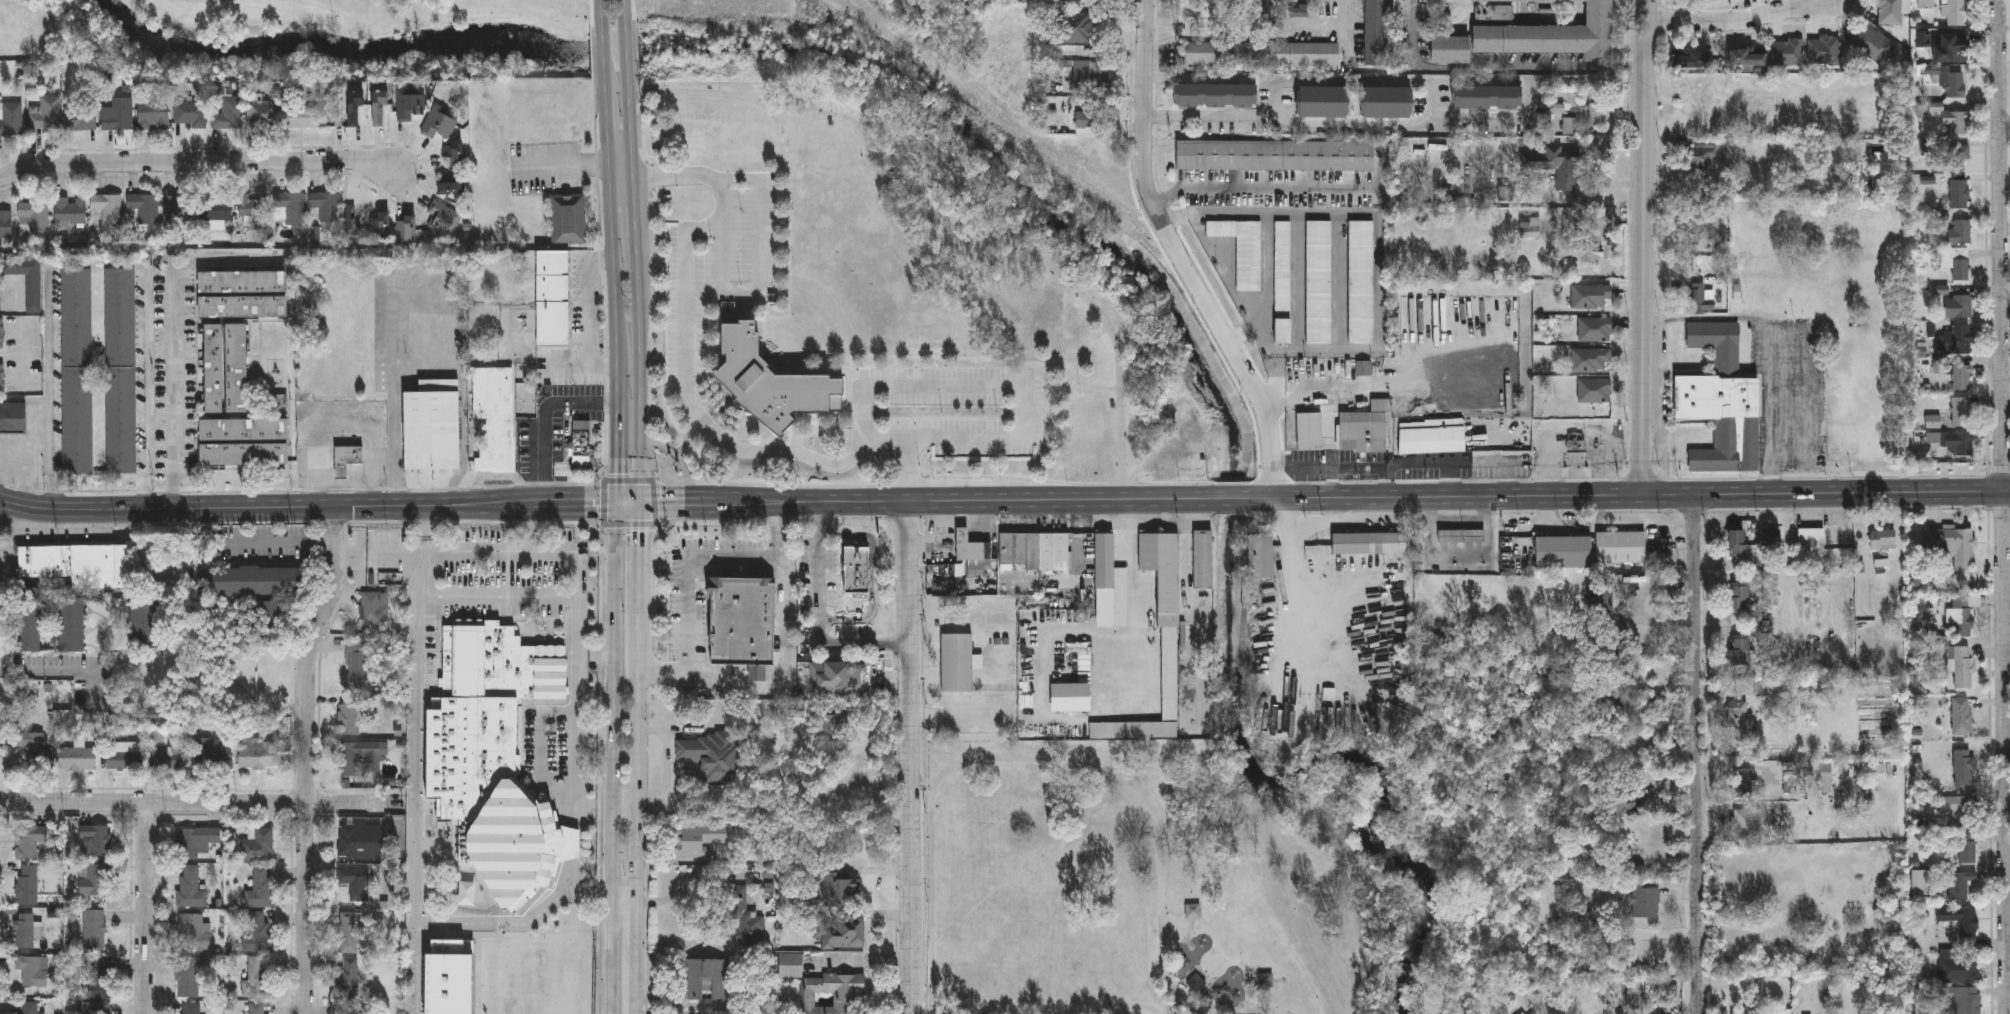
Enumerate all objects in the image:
road: (194, 0)
road: (599, 5)
road: (326, 8)
building: (1500, 11)
building: (1889, 11)
building: (1956, 12)
road: (1739, 21)
building: (1073, 27)
road: (1348, 29)
building: (1376, 32)
building: (1550, 34)
park: (304, 38)
building: (1874, 43)
building: (1958, 46)
road: (605, 48)
building: (1447, 48)
building: (1823, 50)
building: (1258, 51)
building: (1787, 52)
building: (1745, 56)
building: (1691, 58)
road: (1497, 67)
building: (1090, 74)
road: (1355, 80)
building: (1952, 81)
road: (629, 85)
building: (1212, 93)
building: (1485, 95)
building: (1697, 97)
building: (1320, 100)
building: (1383, 100)
building: (410, 108)
building: (381, 110)
building: (356, 111)
building: (1091, 114)
building: (264, 115)
building: (1598, 115)
building: (48, 116)
building: (155, 116)
building: (192, 116)
building: (229, 116)
building: (120, 117)
building: (307, 119)
building: (82, 120)
building: (11, 121)
building: (1955, 121)
road: (1356, 122)
building: (1570, 126)
building: (441, 127)
road: (2007, 128)
road: (609, 133)
building: (454, 156)
building: (1275, 156)
building: (1951, 157)
building: (1703, 158)
road: (199, 162)
building: (1555, 164)
road: (622, 170)
building: (452, 186)
road: (1265, 187)
building: (1959, 192)
road: (952, 195)
road: (635, 203)
building: (327, 207)
building: (180, 209)
building: (217, 209)
building: (292, 209)
building: (108, 210)
building: (143, 211)
building: (255, 211)
building: (70, 213)
building: (34, 216)
building: (569, 220)
building: (445, 221)
building: (1701, 223)
building: (6, 226)
building: (354, 226)
building: (1531, 227)
building: (381, 228)
building: (408, 230)
building: (1955, 244)
road: (637, 245)
road: (1645, 246)
building: (1242, 250)
building: (1577, 250)
road: (1183, 255)
road: (1380, 262)
road: (97, 263)
road: (616, 275)
road: (757, 279)
building: (1318, 282)
building: (1361, 282)
building: (242, 283)
building: (1282, 283)
road: (1230, 285)
building: (14, 288)
building: (1592, 296)
building: (1700, 299)
building: (554, 300)
building: (1957, 305)
road: (2007, 305)
building: (242, 307)
road: (587, 316)
building: (1594, 329)
building: (2, 335)
building: (1958, 336)
road: (686, 351)
road: (24, 353)
road: (12, 355)
building: (1590, 359)
building: (213, 369)
building: (235, 369)
building: (121, 372)
building: (77, 373)
road: (432, 373)
building: (1961, 374)
building: (769, 377)
road: (641, 378)
building: (2, 380)
road: (1396, 383)
road: (601, 384)
road: (1007, 389)
road: (176, 390)
building: (1593, 390)
building: (1720, 401)
building: (1961, 409)
road: (543, 418)
building: (13, 420)
building: (495, 421)
building: (431, 427)
building: (1308, 431)
building: (1361, 431)
building: (1431, 436)
road: (620, 441)
building: (242, 443)
building: (582, 444)
building: (1958, 444)
road: (14, 456)
building: (347, 460)
road: (2005, 477)
road: (627, 480)
road: (26, 481)
road: (342, 481)
road: (1629, 494)
road: (927, 498)
road: (1231, 498)
traffic signals: (620, 502)
road: (630, 502)
road: (604, 503)
traffic signals: (641, 503)
road: (655, 505)
road: (309, 507)
road: (431, 514)
road: (1459, 523)
road: (431, 524)
road: (627, 524)
road: (1132, 532)
building: (1461, 536)
building: (1772, 538)
building: (1810, 539)
building: (1882, 540)
road: (280, 541)
building: (1736, 542)
building: (1368, 543)
building: (1953, 546)
building: (1621, 547)
building: (1034, 551)
road: (532, 552)
building: (1562, 552)
building: (1258, 553)
road: (378, 555)
building: (971, 555)
building: (1201, 559)
building: (78, 564)
building: (858, 567)
road: (159, 569)
road: (692, 570)
road: (874, 574)
building: (254, 580)
building: (1109, 584)
road: (421, 593)
building: (1770, 595)
building: (1737, 596)
road: (493, 598)
road: (819, 612)
building: (1961, 614)
building: (28, 619)
building: (742, 619)
building: (144, 623)
building: (72, 624)
road: (1134, 633)
building: (1738, 650)
road: (784, 661)
building: (956, 663)
building: (1169, 663)
building: (1960, 665)
road: (68, 667)
building: (356, 667)
building: (835, 675)
building: (1603, 702)
road: (574, 711)
road: (951, 714)
building: (346, 716)
building: (1736, 716)
building: (1961, 716)
building: (1532, 718)
building: (31, 743)
road: (541, 747)
road: (1700, 753)
building: (710, 754)
building: (355, 755)
road: (910, 755)
building: (257, 756)
building: (213, 757)
road: (616, 757)
building: (77, 758)
building: (122, 758)
road: (308, 758)
building: (494, 758)
road: (637, 758)
road: (980, 759)
building: (168, 760)
building: (1963, 768)
building: (1817, 773)
building: (1789, 776)
building: (1741, 783)
road: (923, 784)
road: (2009, 790)
building: (1624, 800)
road: (187, 802)
road: (415, 807)
building: (1958, 811)
building: (1748, 823)
building: (698, 836)
building: (96, 838)
building: (357, 839)
building: (196, 841)
building: (29, 842)
road: (571, 843)
building: (256, 845)
building: (1966, 848)
building: (94, 879)
park: (1152, 880)
building: (1918, 882)
building: (1960, 883)
building: (187, 884)
building: (29, 885)
building: (355, 885)
building: (259, 888)
building: (842, 889)
road: (595, 894)
road: (626, 901)
building: (1644, 904)
road: (145, 908)
building: (1192, 913)
building: (743, 916)
building: (1959, 920)
road: (516, 924)
building: (29, 930)
building: (94, 930)
building: (843, 931)
building: (193, 932)
building: (351, 932)
building: (256, 934)
building: (1957, 966)
building: (33, 971)
building: (97, 977)
building: (187, 977)
building: (346, 977)
building: (255, 978)
building: (705, 978)
building: (822, 988)
building: (1964, 1001)
building: (29, 1008)
building: (95, 1008)
road: (951, 1008)
road: (1172, 1008)
building: (191, 1009)
building: (256, 1009)
building: (362, 1009)
building: (1738, 1013)

